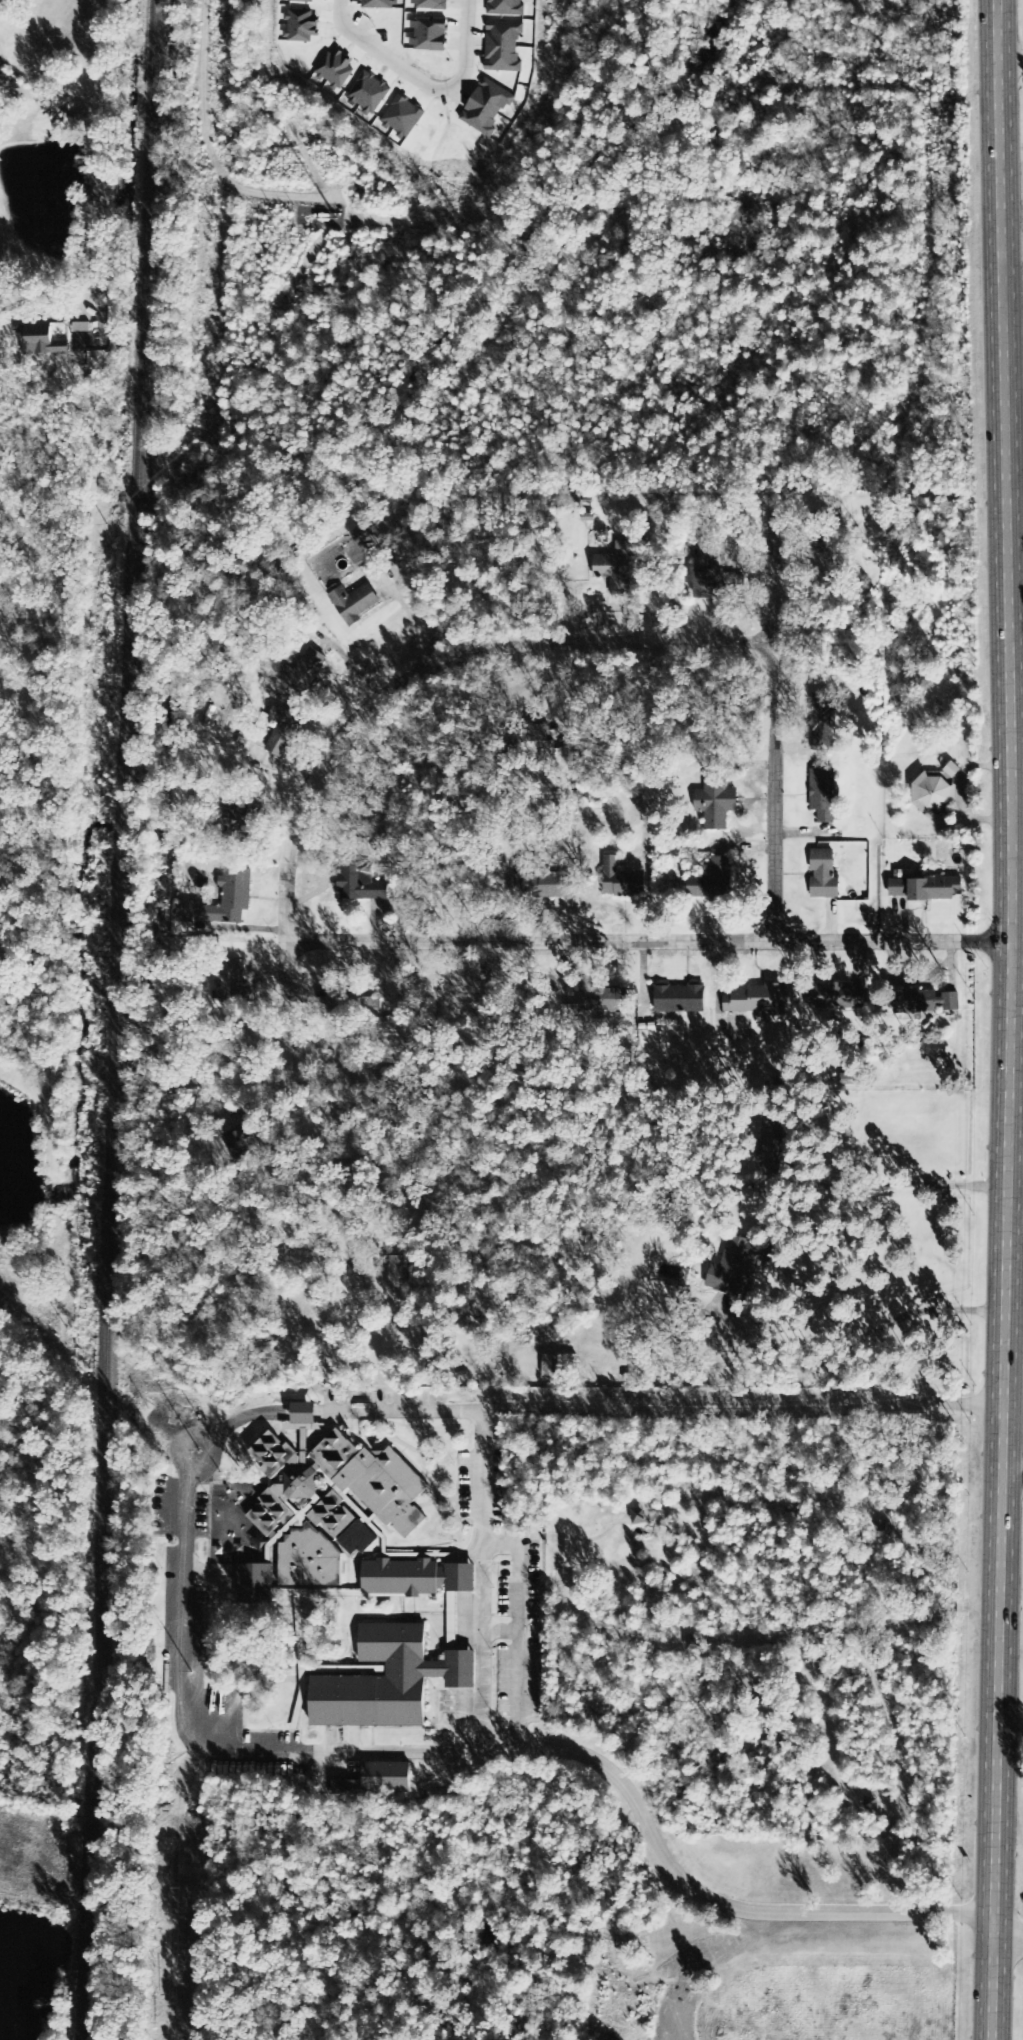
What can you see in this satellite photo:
building: (432, 5)
building: (507, 8)
building: (430, 34)
building: (504, 47)
road: (423, 83)
building: (487, 107)
road: (1011, 245)
building: (82, 328)
building: (43, 341)
building: (615, 568)
building: (712, 580)
building: (354, 603)
building: (306, 670)
road: (405, 685)
building: (823, 720)
road: (775, 725)
building: (284, 733)
building: (952, 770)
building: (931, 792)
building: (823, 794)
building: (717, 802)
building: (246, 822)
building: (824, 875)
building: (622, 879)
building: (360, 882)
building: (713, 882)
building: (544, 884)
building: (927, 888)
building: (226, 900)
road: (649, 943)
building: (230, 979)
building: (836, 996)
building: (681, 999)
building: (603, 1000)
building: (759, 1000)
building: (926, 1001)
building: (352, 1009)
railway: (122, 1019)
road: (1008, 1020)
building: (775, 1146)
building: (350, 1178)
building: (736, 1265)
building: (397, 1273)
building: (560, 1366)
building: (302, 1417)
road: (1012, 1464)
building: (331, 1503)
building: (358, 1539)
building: (416, 1578)
building: (256, 1584)
road: (193, 1588)
road: (481, 1608)
building: (389, 1681)
building: (379, 1780)
road: (1007, 1939)

